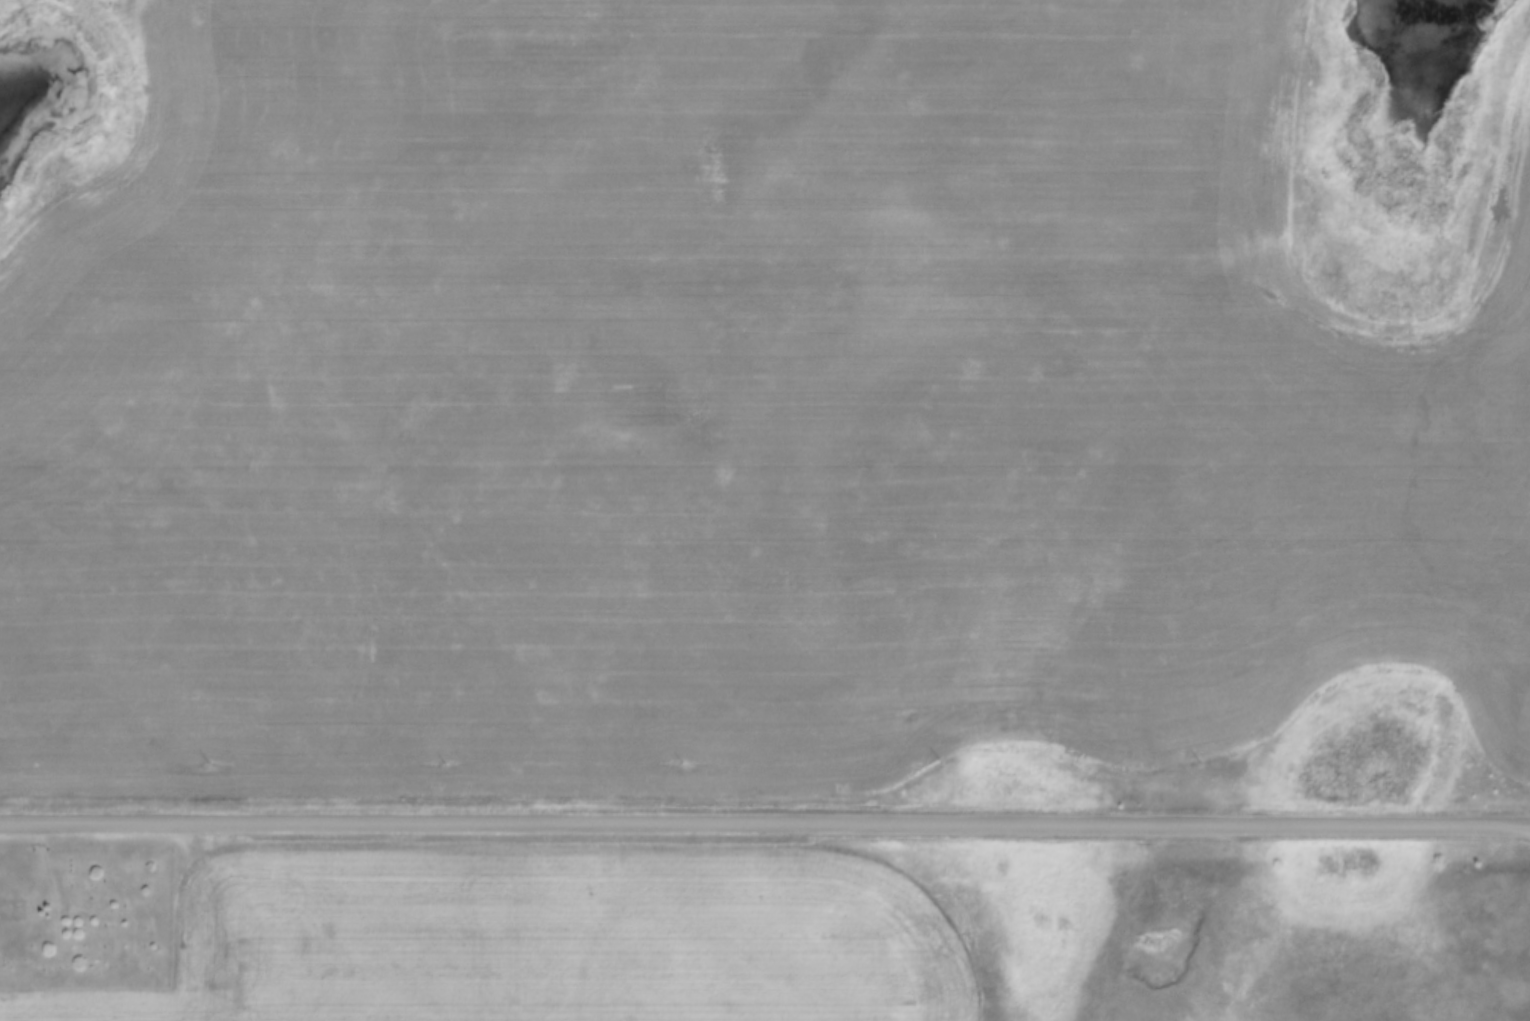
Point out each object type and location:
road: (116, 143)
road: (765, 826)
road: (179, 907)
park: (86, 919)

